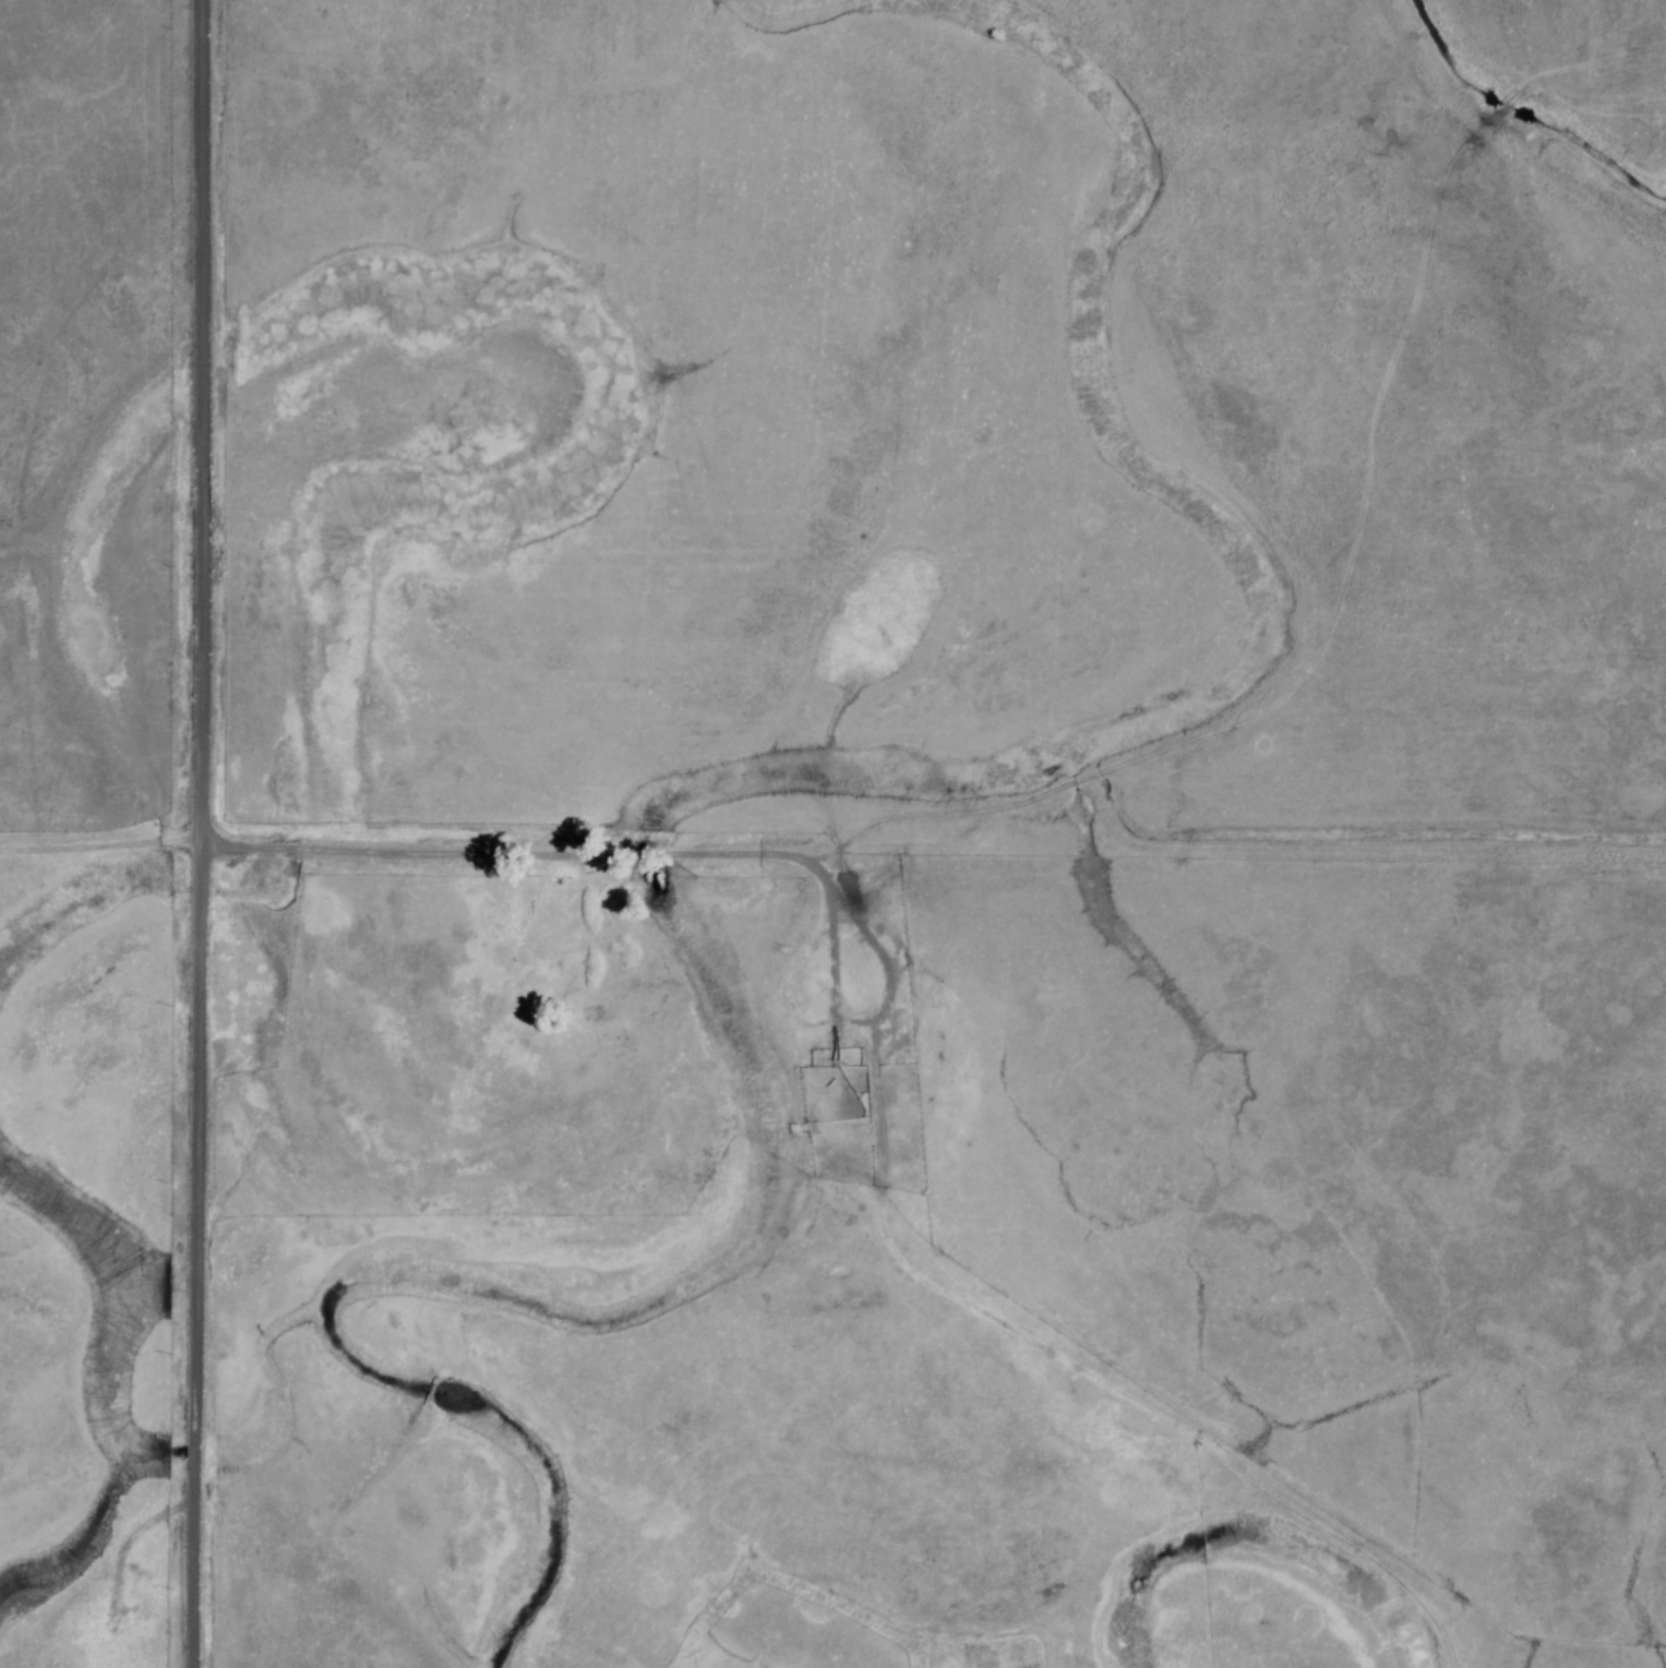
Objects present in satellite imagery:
road: (104, 764)
road: (207, 833)
road: (424, 854)
road: (783, 986)
road: (872, 1018)
road: (1089, 1378)
road: (131, 1540)

